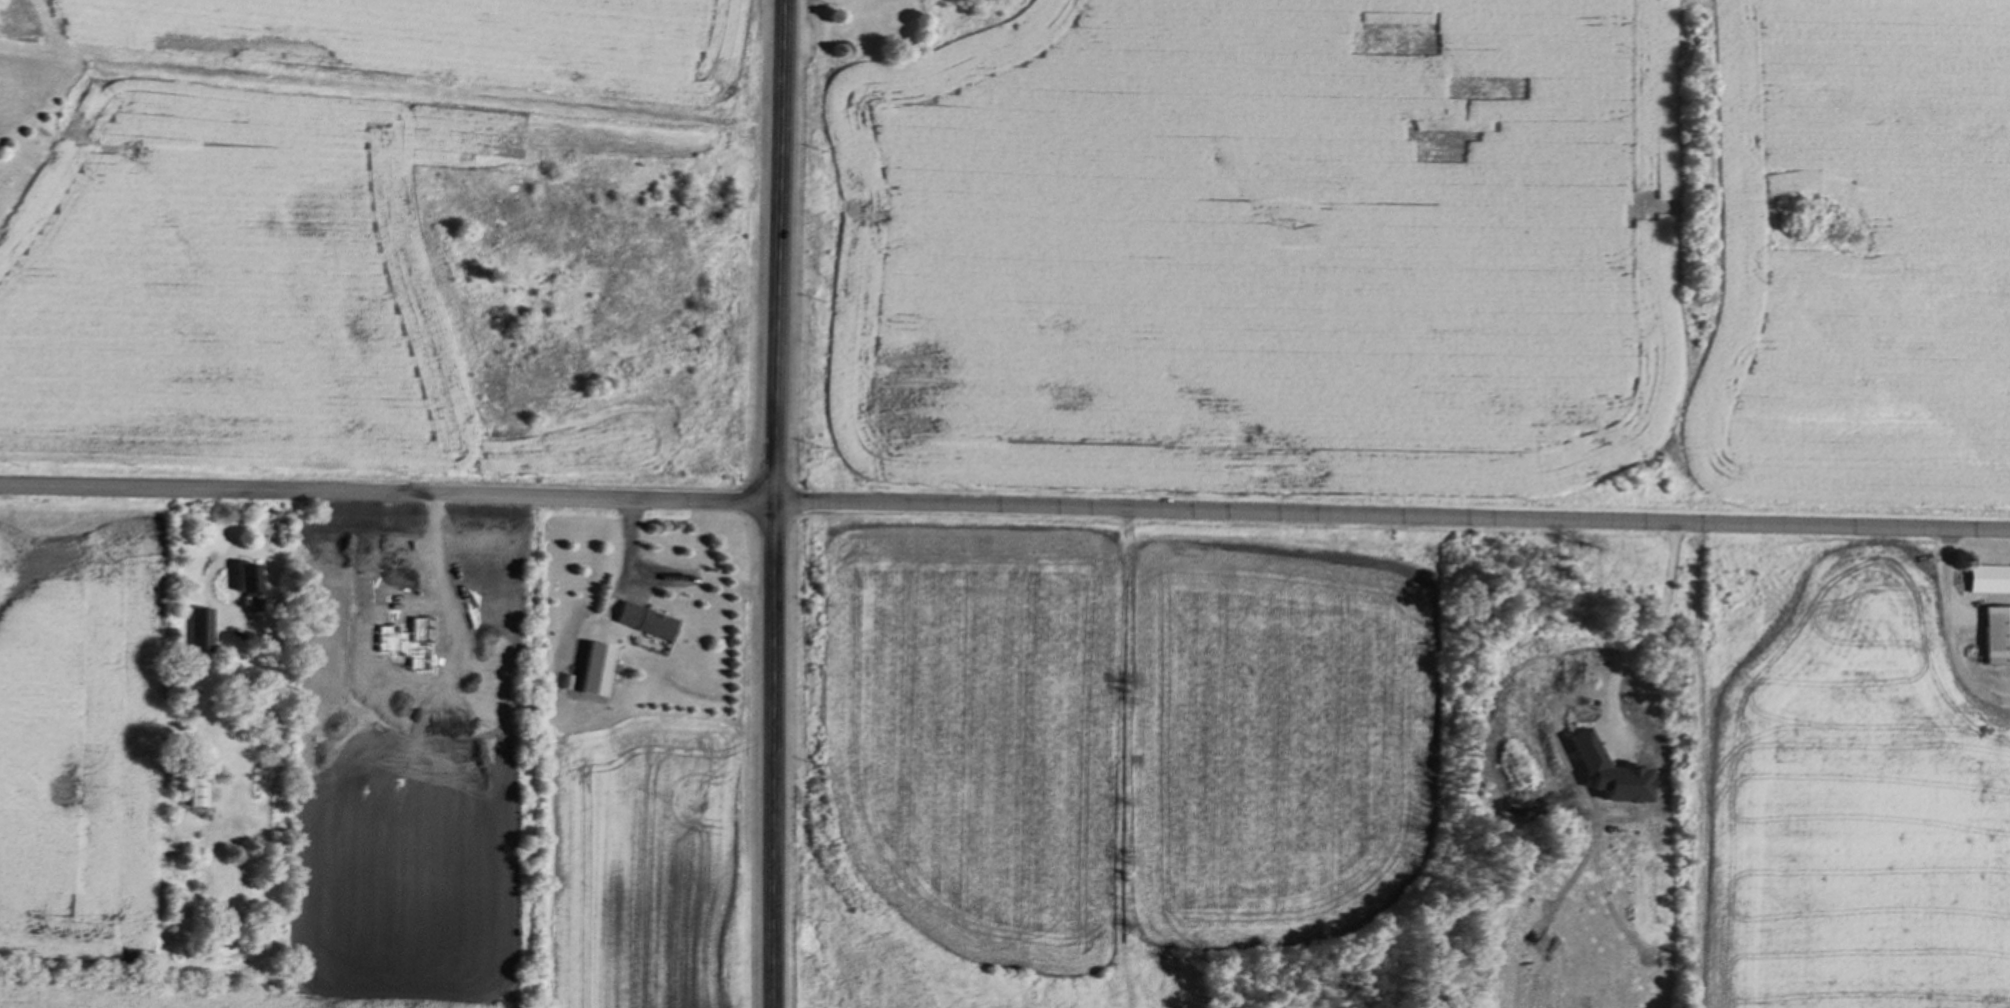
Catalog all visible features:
crop: (299, 227)
crop: (1433, 246)
building: (768, 431)
road: (770, 503)
road: (1004, 510)
road: (231, 561)
road: (629, 565)
building: (243, 580)
building: (1988, 581)
road: (1659, 621)
building: (641, 623)
building: (199, 632)
building: (1995, 637)
crop: (1137, 729)
building: (196, 794)
crop: (1859, 798)

